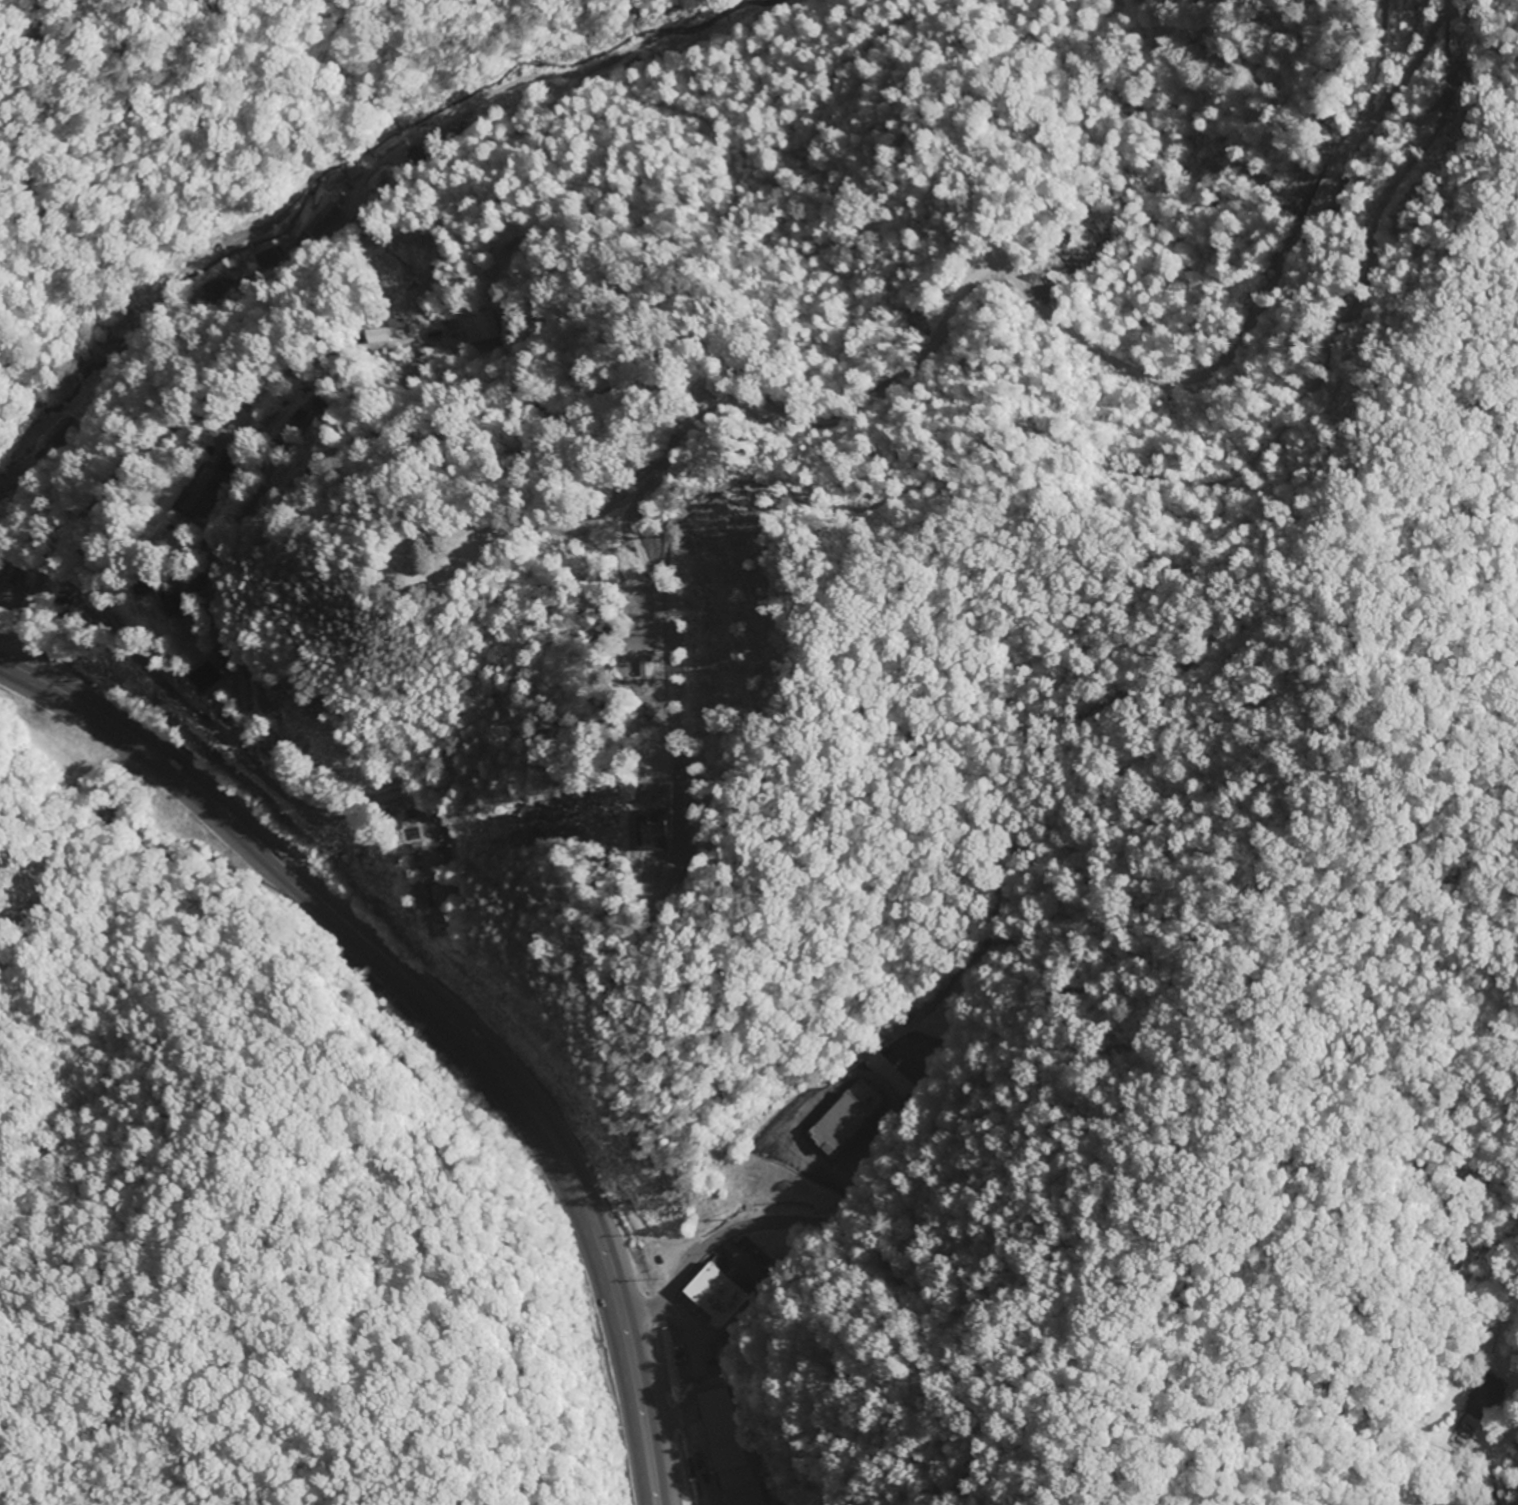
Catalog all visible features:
road: (1489, 34)
road: (350, 200)
building: (323, 221)
building: (402, 324)
building: (382, 337)
road: (731, 367)
road: (267, 395)
road: (674, 445)
road: (2, 485)
building: (204, 494)
road: (38, 580)
building: (6, 590)
building: (173, 605)
building: (205, 678)
road: (431, 811)
building: (651, 832)
building: (446, 895)
road: (430, 1009)
building: (846, 1118)
building: (719, 1296)
building: (1484, 1398)
building: (730, 1448)
road: (1499, 1470)

